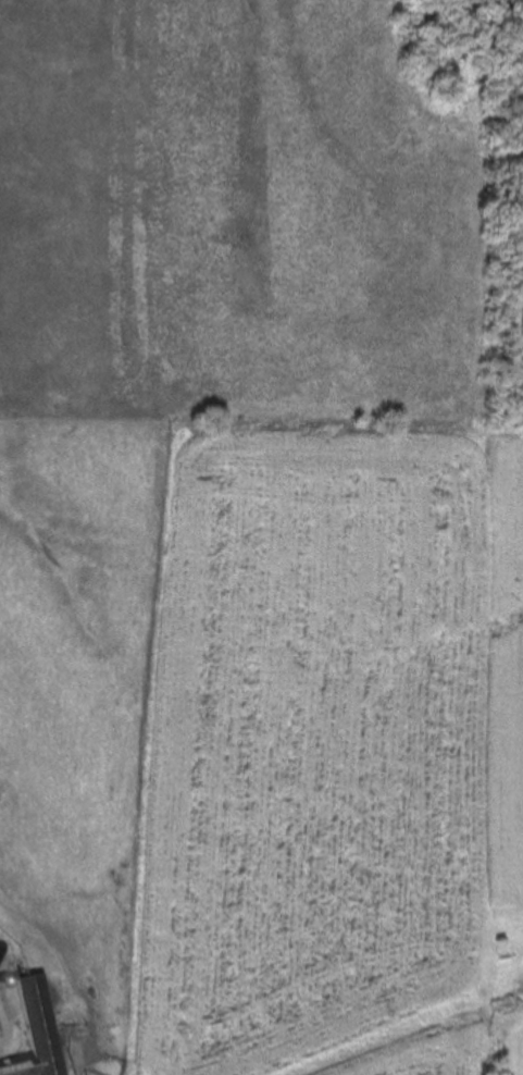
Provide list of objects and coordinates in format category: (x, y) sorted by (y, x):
building: (34, 1031)

